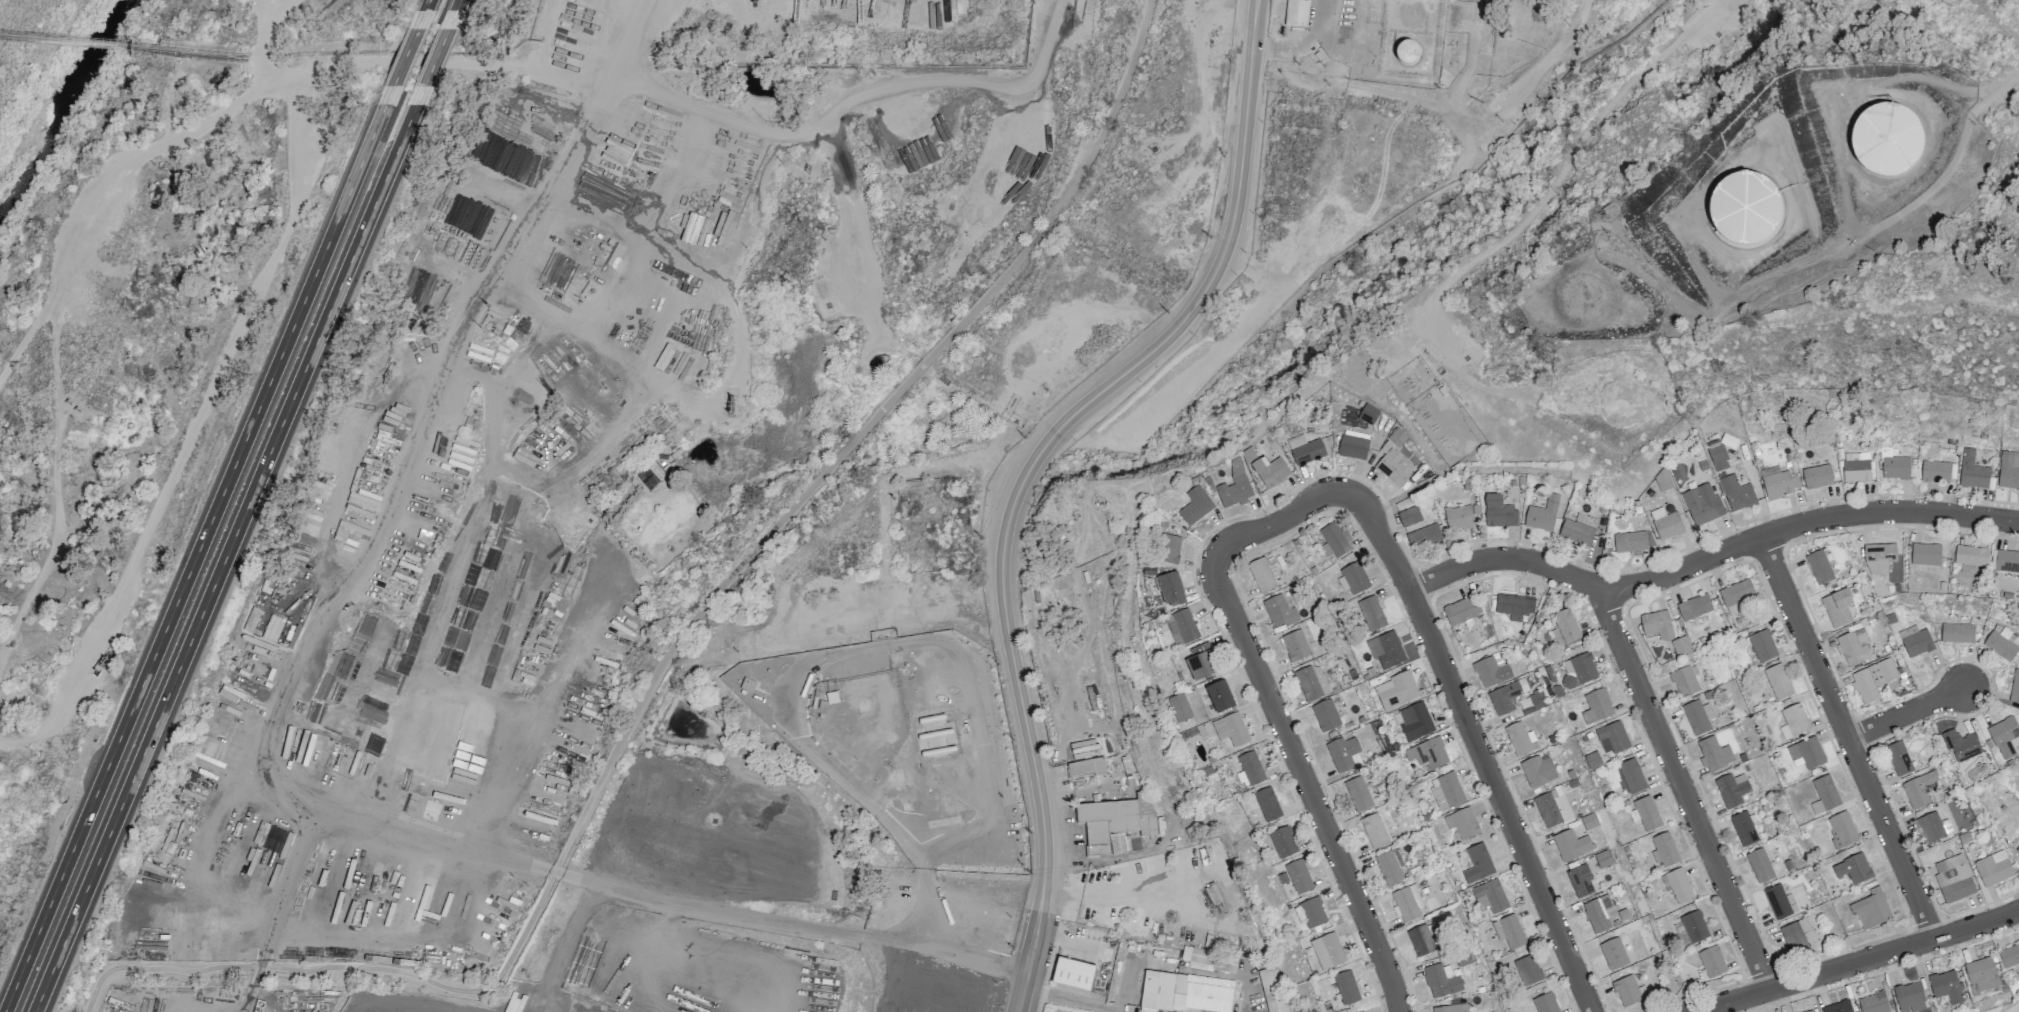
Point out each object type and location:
road: (1257, 2)
building: (1296, 13)
road: (423, 14)
road: (454, 14)
river: (47, 57)
road: (404, 58)
road: (436, 58)
road: (452, 60)
road: (856, 96)
building: (1886, 140)
building: (1744, 207)
road: (1397, 343)
building: (1368, 414)
road: (1063, 420)
building: (1397, 437)
building: (1353, 445)
building: (1305, 449)
building: (1718, 458)
building: (1394, 467)
building: (1856, 467)
building: (1266, 468)
building: (1895, 468)
building: (2008, 470)
building: (1972, 471)
building: (1938, 472)
building: (1822, 477)
building: (1778, 482)
building: (1234, 486)
building: (1737, 493)
building: (1702, 504)
building: (1195, 505)
building: (1499, 512)
building: (1542, 514)
building: (1409, 516)
building: (1459, 517)
road: (1284, 521)
building: (1666, 523)
road: (386, 524)
building: (1579, 529)
building: (1423, 537)
building: (1335, 539)
building: (1633, 541)
building: (1168, 549)
road: (199, 550)
road: (232, 550)
building: (1925, 554)
building: (1879, 557)
road: (1712, 558)
building: (1970, 558)
building: (2005, 561)
building: (1819, 567)
building: (1261, 575)
building: (1352, 578)
building: (1170, 589)
building: (1743, 593)
building: (1515, 606)
building: (1700, 607)
building: (1837, 608)
building: (1280, 609)
building: (1732, 609)
building: (1460, 611)
building: (1371, 613)
building: (1657, 624)
building: (1182, 627)
building: (1564, 628)
building: (1957, 633)
building: (1915, 641)
building: (2003, 643)
building: (1295, 645)
building: (1680, 645)
building: (1767, 647)
building: (1854, 647)
building: (1386, 650)
road: (669, 651)
building: (1201, 662)
building: (1589, 669)
building: (1491, 671)
building: (1873, 679)
building: (1311, 682)
building: (1688, 684)
building: (1783, 684)
building: (2014, 687)
building: (1396, 690)
building: (1219, 696)
building: (1506, 696)
building: (1535, 701)
building: (1603, 706)
building: (1179, 707)
road: (1910, 714)
building: (1325, 715)
building: (1698, 716)
building: (1801, 720)
building: (1415, 722)
building: (1230, 729)
building: (1619, 736)
road: (1850, 737)
building: (1520, 739)
building: (1961, 744)
building: (1343, 753)
building: (1428, 753)
building: (1815, 753)
building: (1716, 754)
building: (1592, 760)
building: (1904, 761)
building: (1086, 767)
building: (1251, 768)
road: (1491, 771)
building: (1537, 771)
building: (1636, 777)
road: (1685, 788)
building: (1919, 789)
building: (1446, 791)
building: (1732, 791)
building: (1831, 792)
building: (1358, 793)
building: (1267, 804)
road: (1322, 811)
building: (1551, 811)
building: (1653, 813)
building: (1589, 821)
building: (1116, 822)
building: (1462, 822)
building: (1931, 827)
building: (1749, 828)
road: (397, 829)
building: (1849, 830)
building: (1374, 831)
building: (1283, 842)
building: (1571, 844)
building: (1670, 849)
building: (2017, 850)
building: (676, 852)
building: (1603, 858)
building: (1476, 863)
building: (1764, 866)
road: (198, 867)
building: (1388, 868)
building: (1862, 868)
building: (1993, 868)
building: (1298, 876)
building: (1953, 878)
building: (1580, 881)
building: (1683, 887)
road: (623, 889)
building: (1212, 894)
building: (1489, 896)
building: (1781, 902)
building: (1407, 904)
building: (1876, 909)
building: (1312, 912)
building: (1599, 913)
building: (1697, 927)
building: (1509, 931)
building: (1682, 937)
building: (1798, 937)
building: (1420, 940)
road: (1034, 949)
building: (1327, 951)
building: (1616, 954)
building: (2009, 956)
building: (1209, 960)
road: (1862, 961)
building: (1716, 962)
building: (1072, 973)
building: (1981, 973)
building: (1441, 980)
building: (1946, 986)
building: (1346, 987)
building: (1273, 989)
building: (1630, 991)
building: (1185, 992)
road: (1065, 997)
building: (1909, 997)
building: (1547, 1003)
building: (1877, 1003)
building: (1448, 1008)
building: (1842, 1008)
building: (1809, 1011)
building: (1814, 1011)

